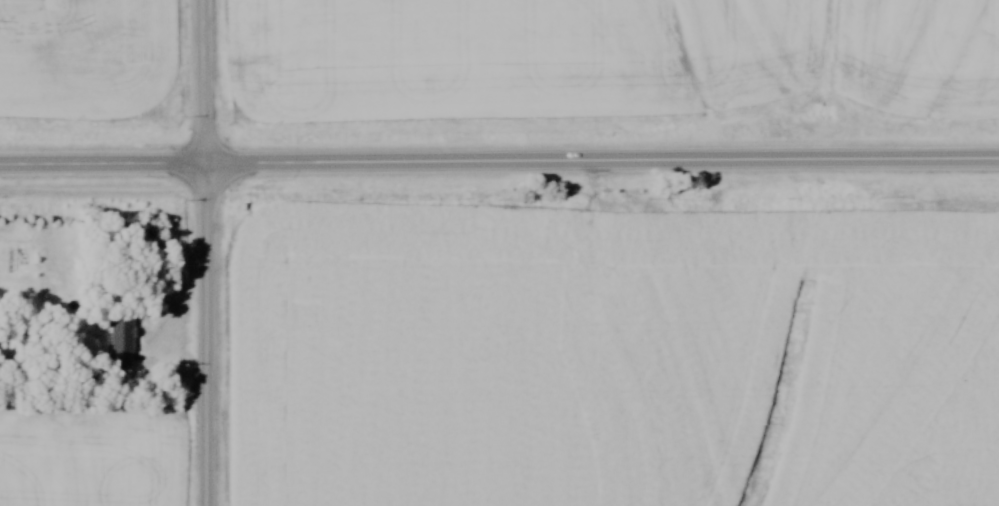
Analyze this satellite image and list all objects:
road: (499, 162)
road: (205, 252)
building: (122, 336)

